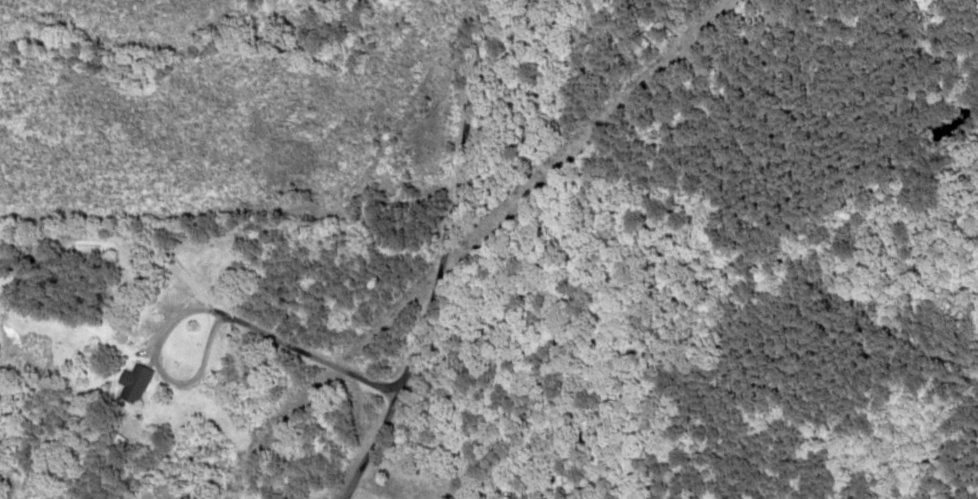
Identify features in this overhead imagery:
road: (436, 244)
building: (132, 384)

